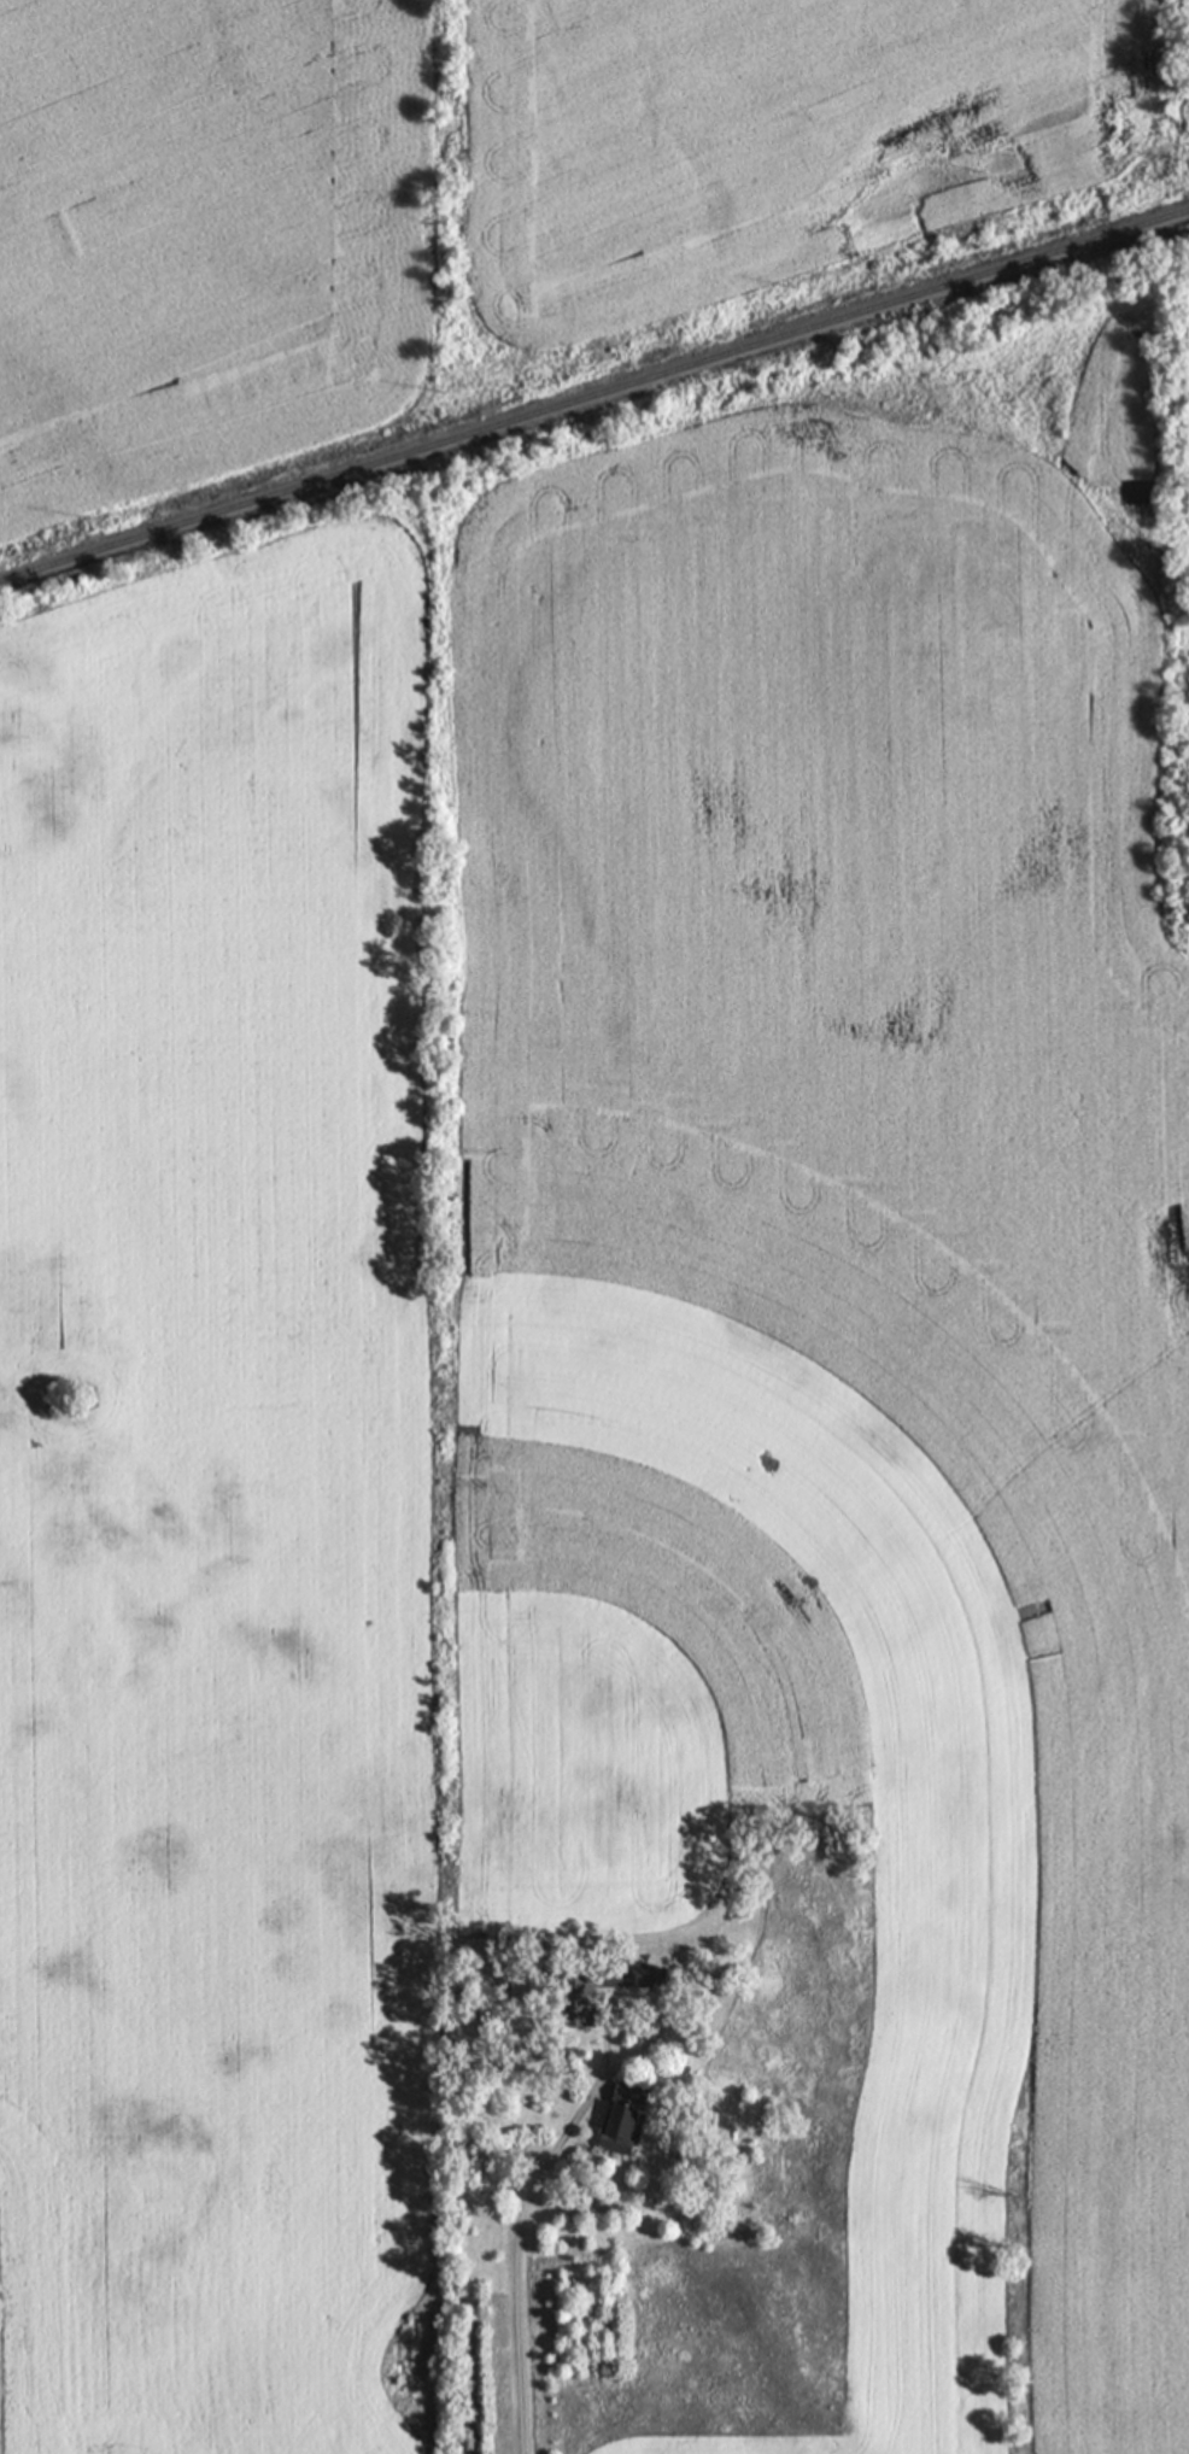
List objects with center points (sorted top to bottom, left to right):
railway: (593, 394)
building: (633, 2116)
road: (517, 2261)

